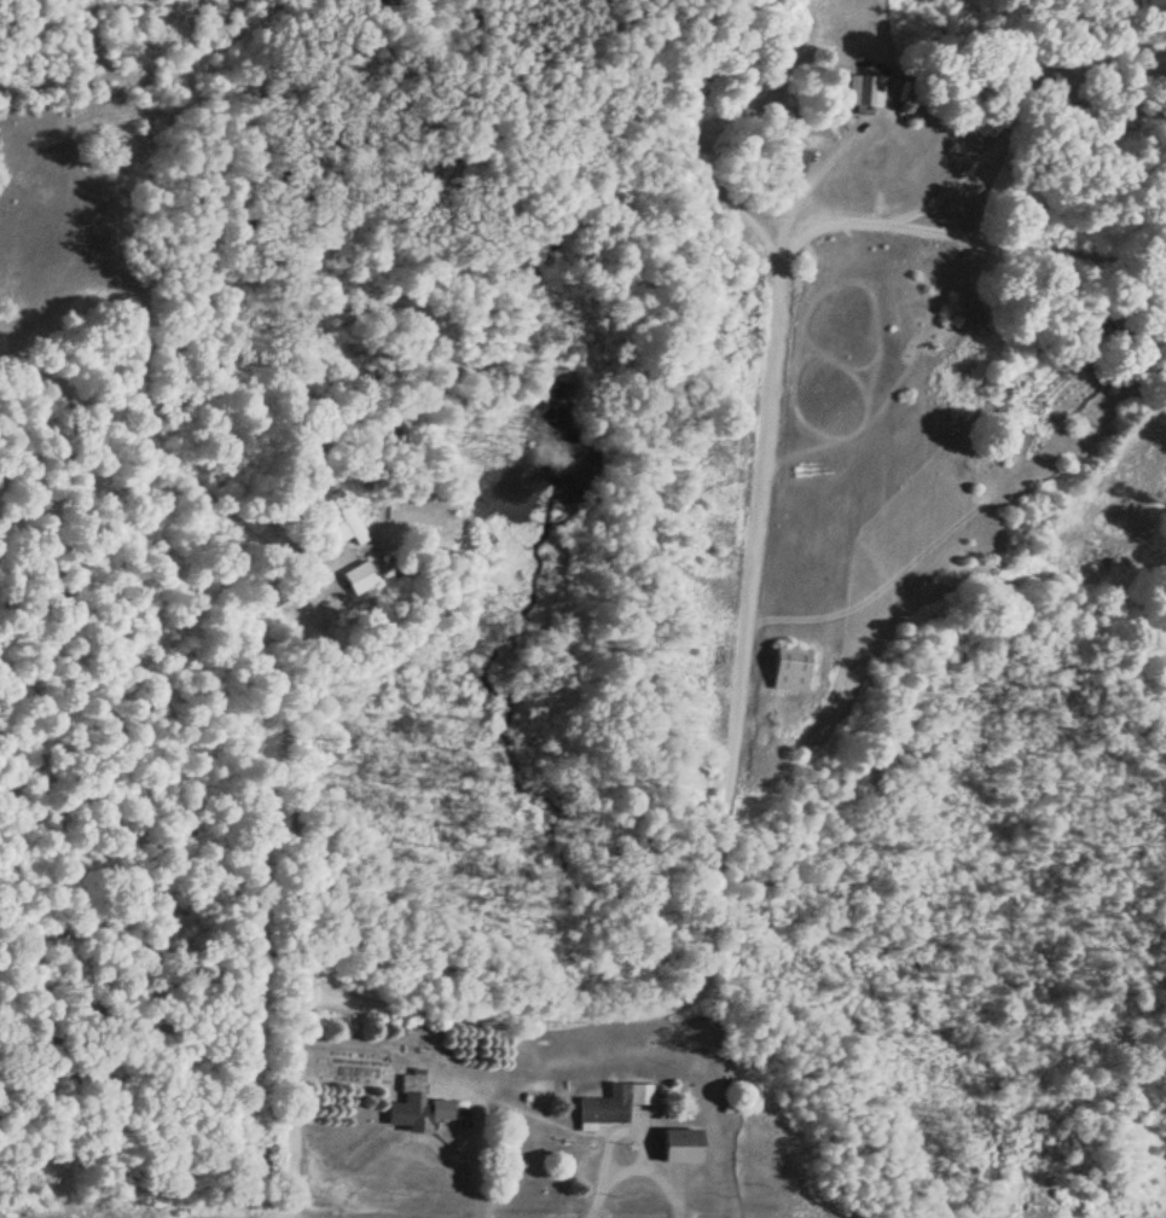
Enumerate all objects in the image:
building: (860, 94)
road: (685, 138)
building: (349, 528)
road: (732, 625)
building: (789, 668)
building: (614, 1106)
building: (412, 1107)
road: (291, 1110)
building: (680, 1148)

